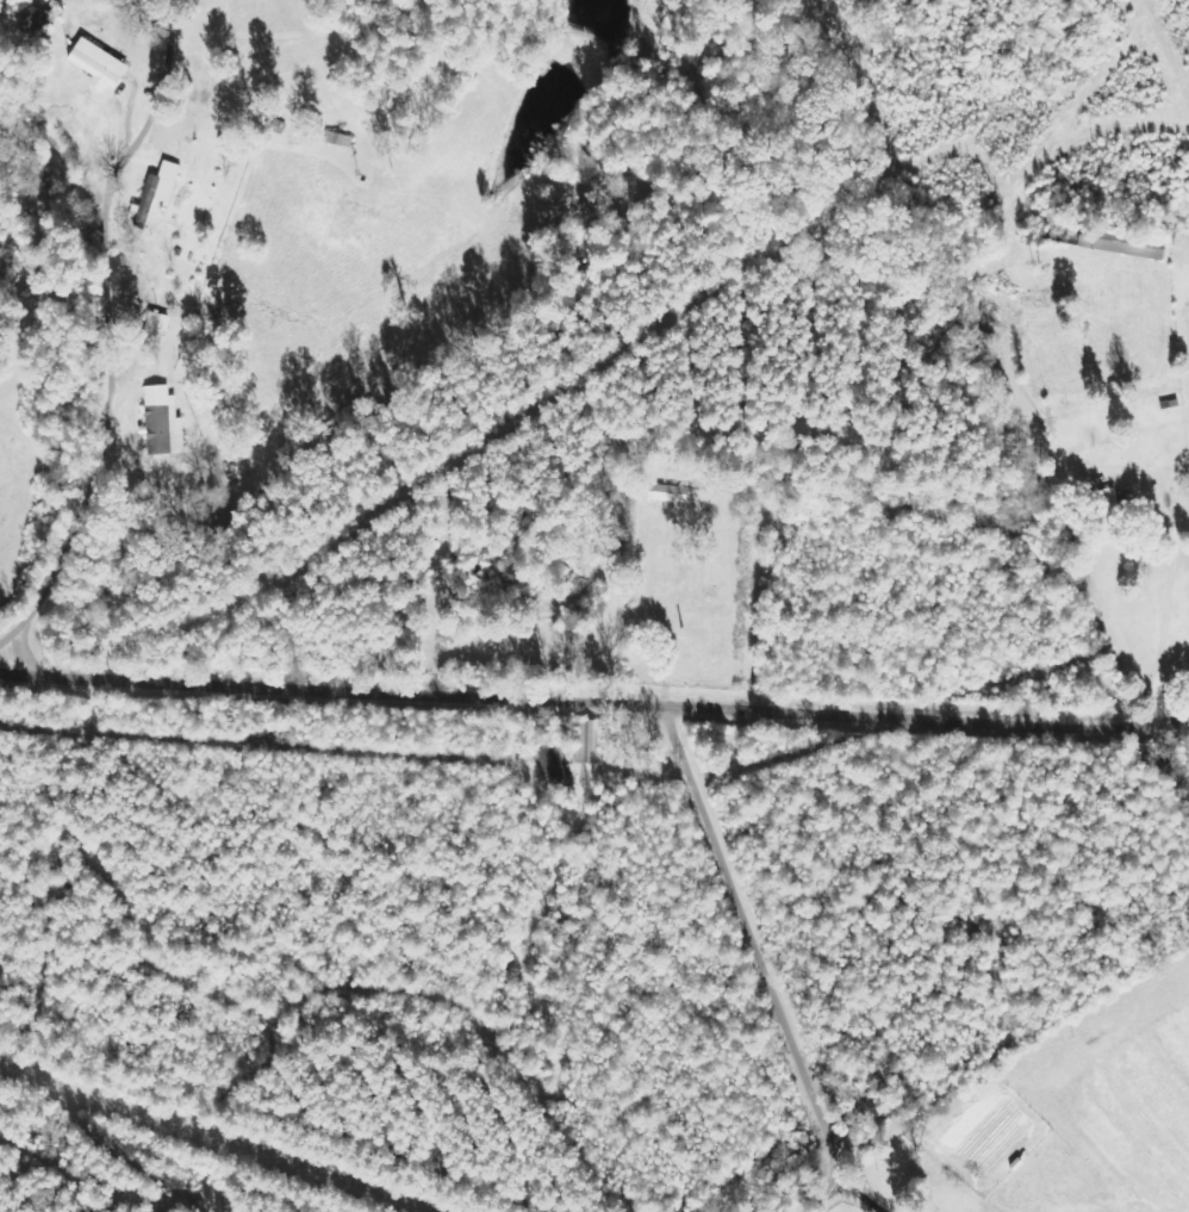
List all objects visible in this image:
building: (100, 66)
building: (157, 192)
building: (1122, 248)
road: (94, 285)
building: (166, 423)
building: (668, 495)
building: (1103, 503)
road: (593, 708)
road: (735, 965)

